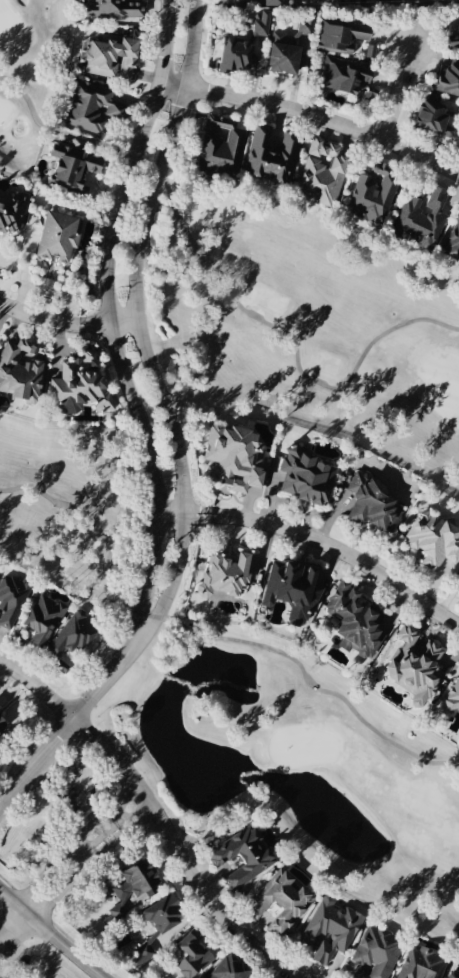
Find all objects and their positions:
building: (267, 2)
building: (112, 9)
building: (260, 23)
building: (340, 35)
building: (453, 39)
building: (287, 46)
building: (235, 55)
building: (108, 56)
building: (341, 76)
building: (447, 79)
road: (395, 96)
building: (90, 107)
building: (458, 110)
road: (312, 115)
building: (432, 117)
building: (219, 149)
building: (270, 155)
building: (70, 169)
building: (321, 173)
building: (372, 194)
building: (11, 212)
building: (421, 219)
building: (56, 237)
building: (452, 242)
road: (24, 269)
park: (266, 288)
road: (108, 317)
road: (66, 321)
road: (136, 322)
building: (19, 373)
building: (79, 388)
building: (232, 459)
building: (305, 477)
building: (373, 505)
building: (433, 540)
road: (315, 542)
building: (223, 575)
building: (458, 585)
building: (291, 590)
building: (11, 599)
building: (42, 619)
building: (356, 621)
building: (71, 636)
building: (414, 665)
building: (453, 695)
park: (240, 698)
road: (72, 721)
building: (2, 725)
road: (115, 804)
road: (120, 811)
road: (156, 815)
road: (124, 818)
road: (130, 826)
road: (95, 842)
road: (86, 844)
road: (101, 849)
building: (241, 856)
road: (56, 864)
building: (130, 890)
road: (10, 897)
building: (279, 901)
road: (46, 904)
building: (162, 915)
road: (10, 917)
building: (331, 929)
road: (61, 942)
building: (376, 952)
building: (140, 956)
building: (190, 956)
building: (421, 963)
building: (228, 968)
building: (452, 975)

